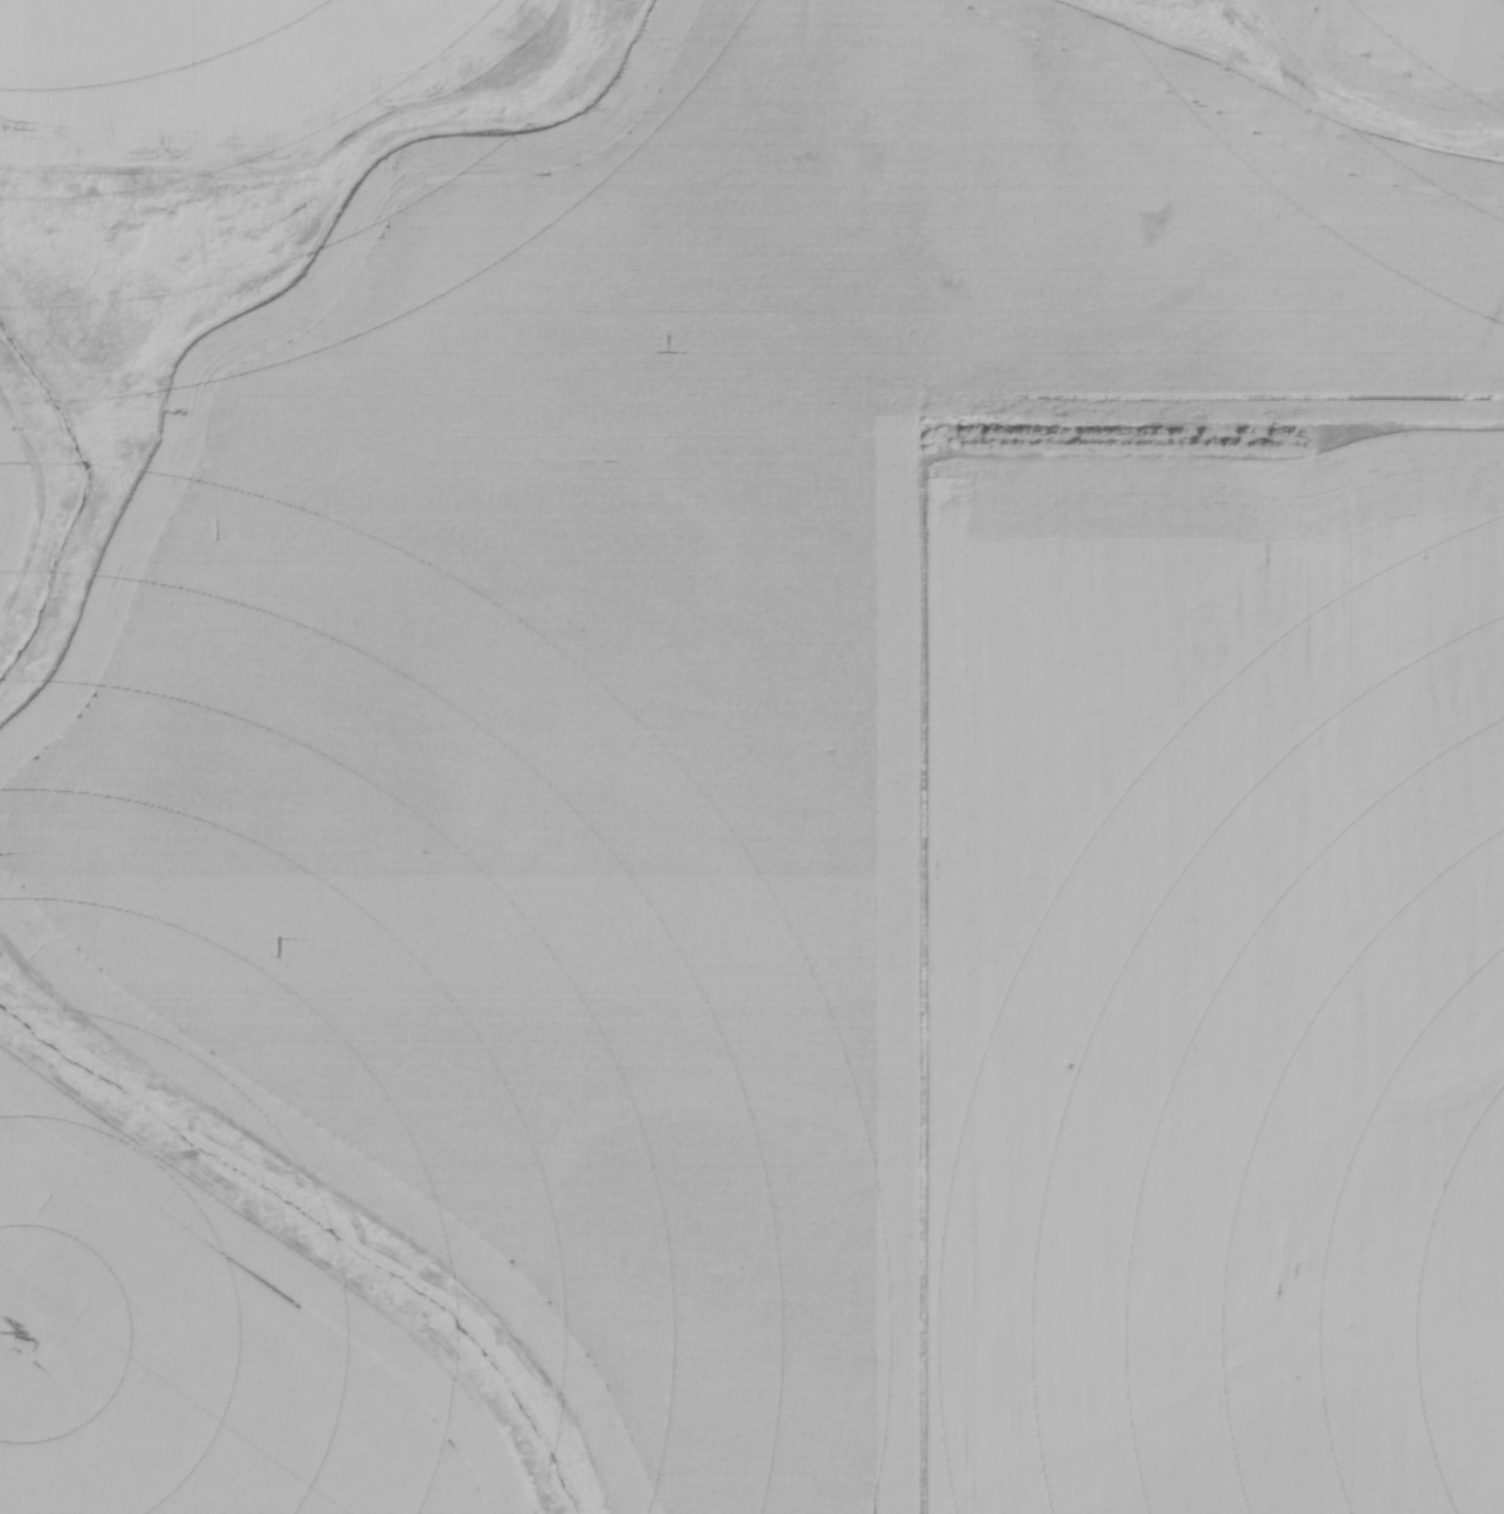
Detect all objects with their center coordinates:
crop: (1402, 49)

